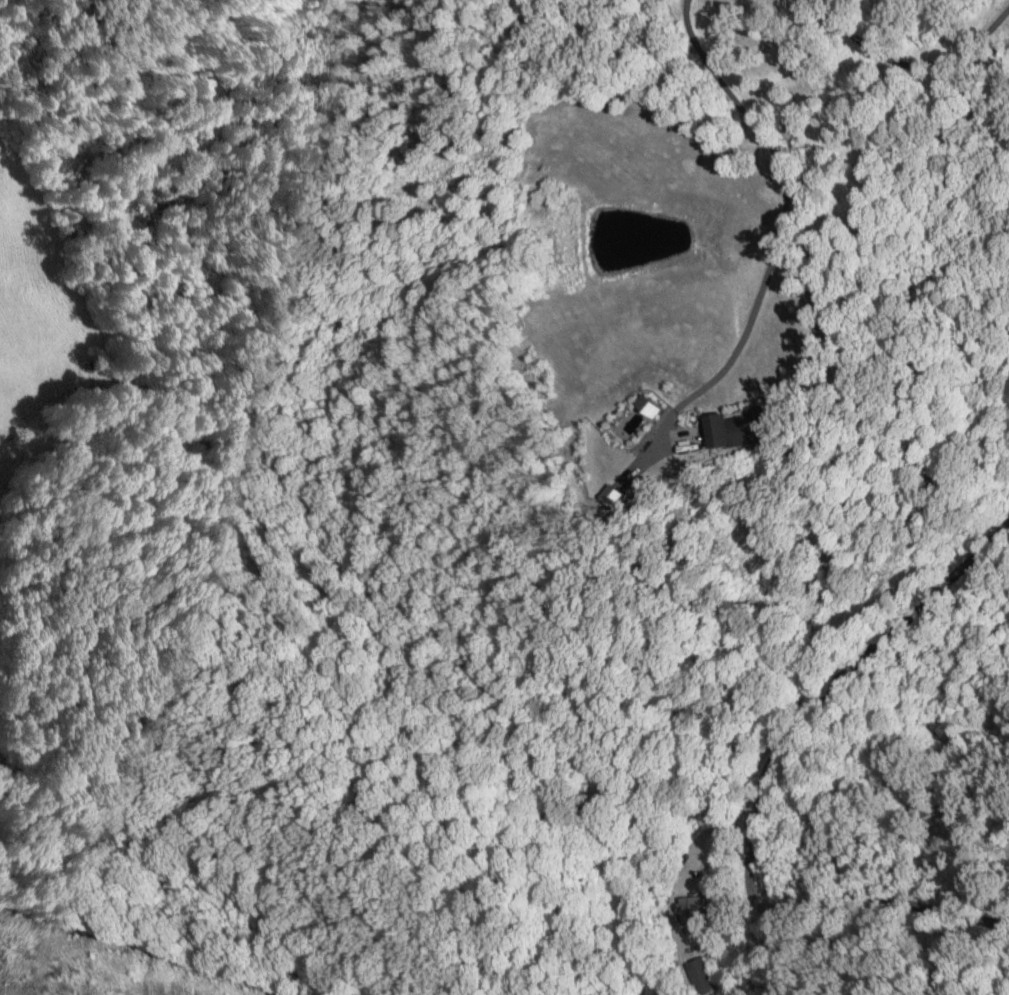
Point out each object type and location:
road: (902, 64)
building: (755, 428)
road: (758, 790)
building: (698, 911)
power tower: (59, 965)
building: (707, 976)

